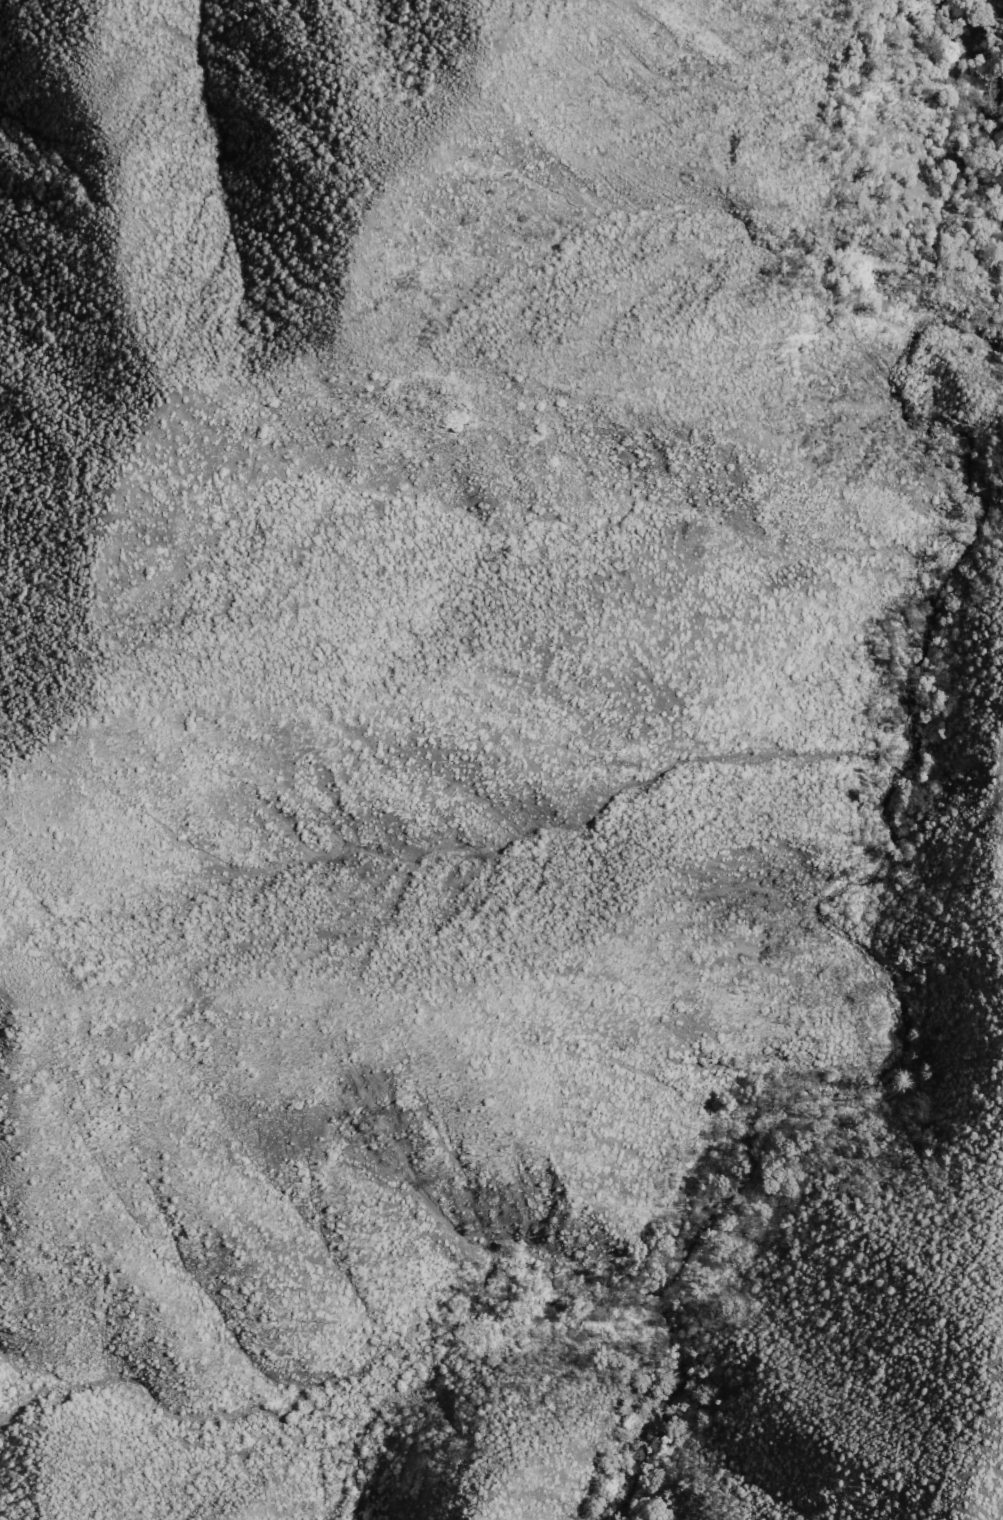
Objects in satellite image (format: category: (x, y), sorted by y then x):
road: (720, 1221)

